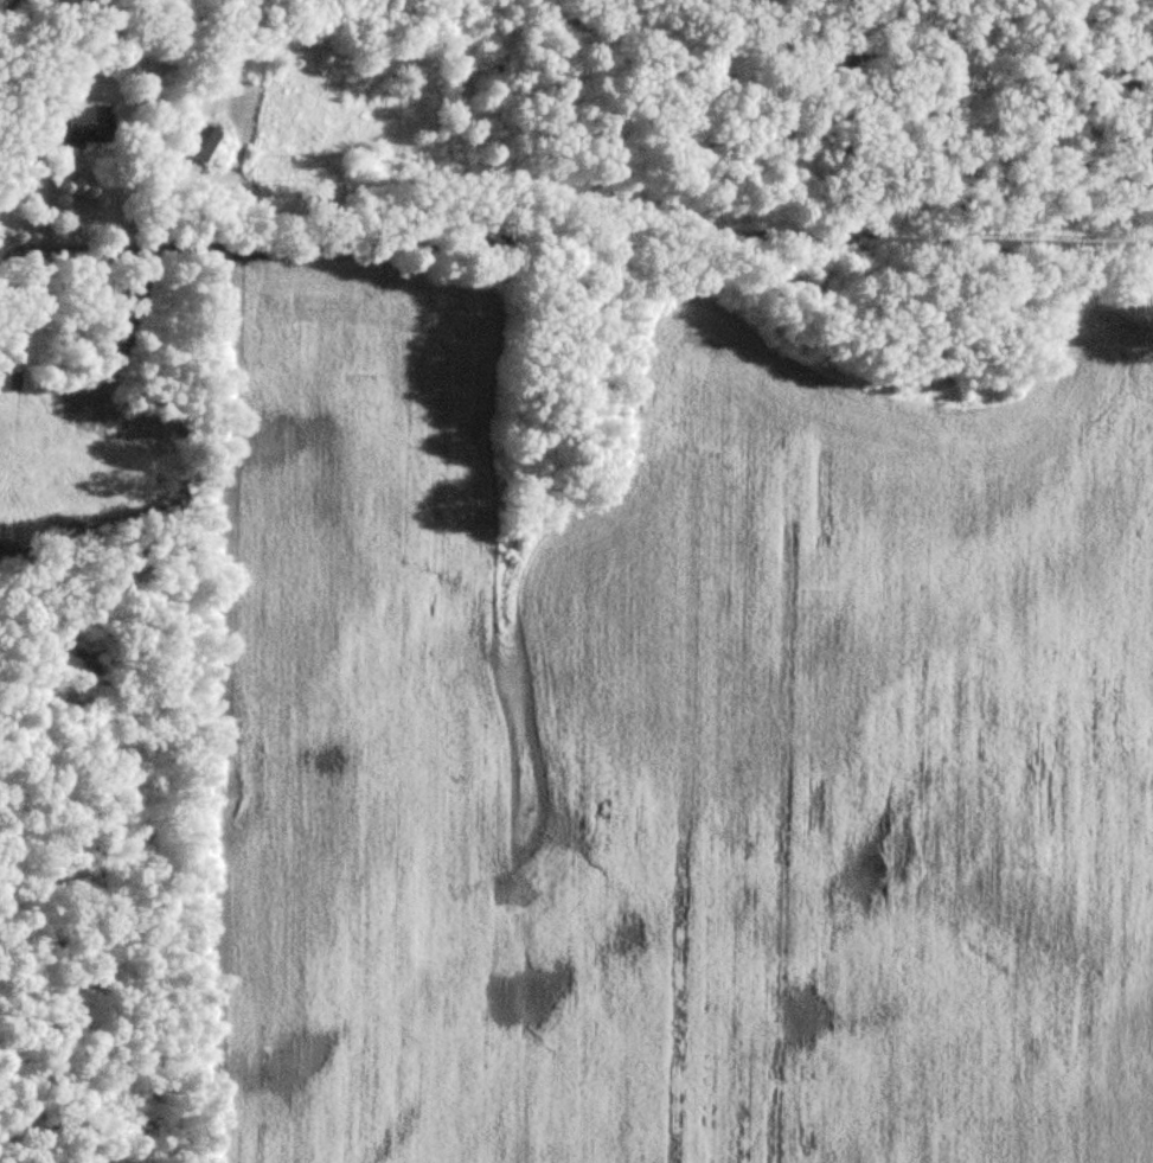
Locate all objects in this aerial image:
building: (82, 127)
building: (203, 142)
road: (576, 247)

